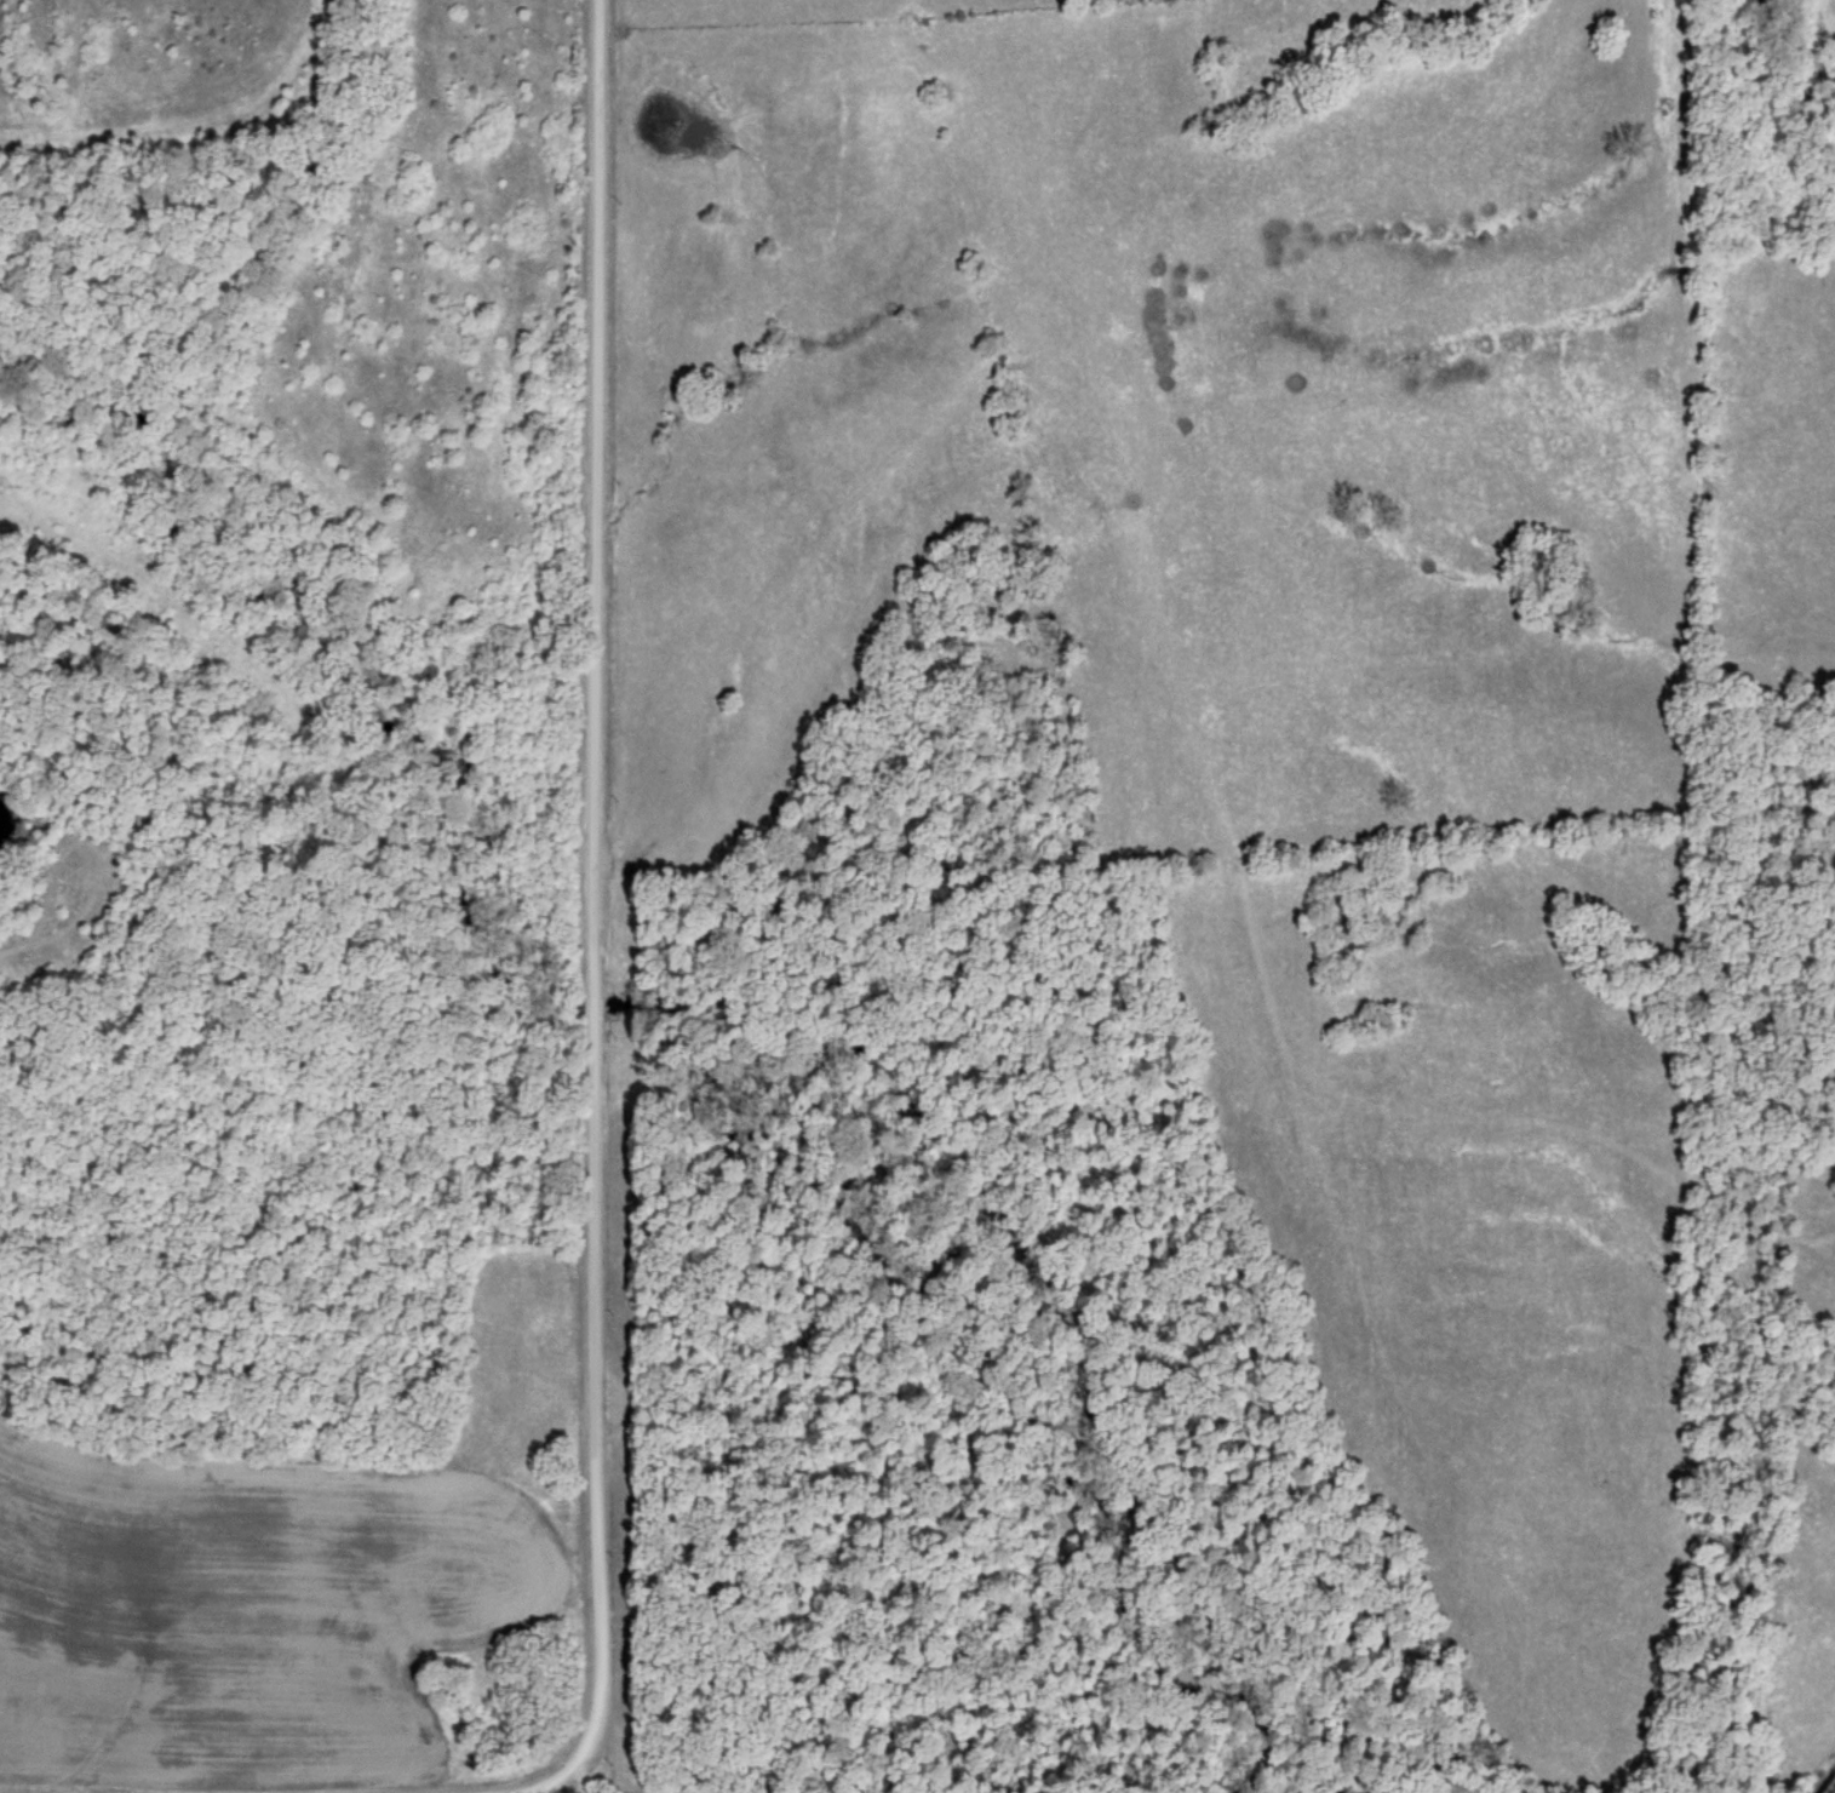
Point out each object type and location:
road: (589, 911)
road: (584, 1789)

